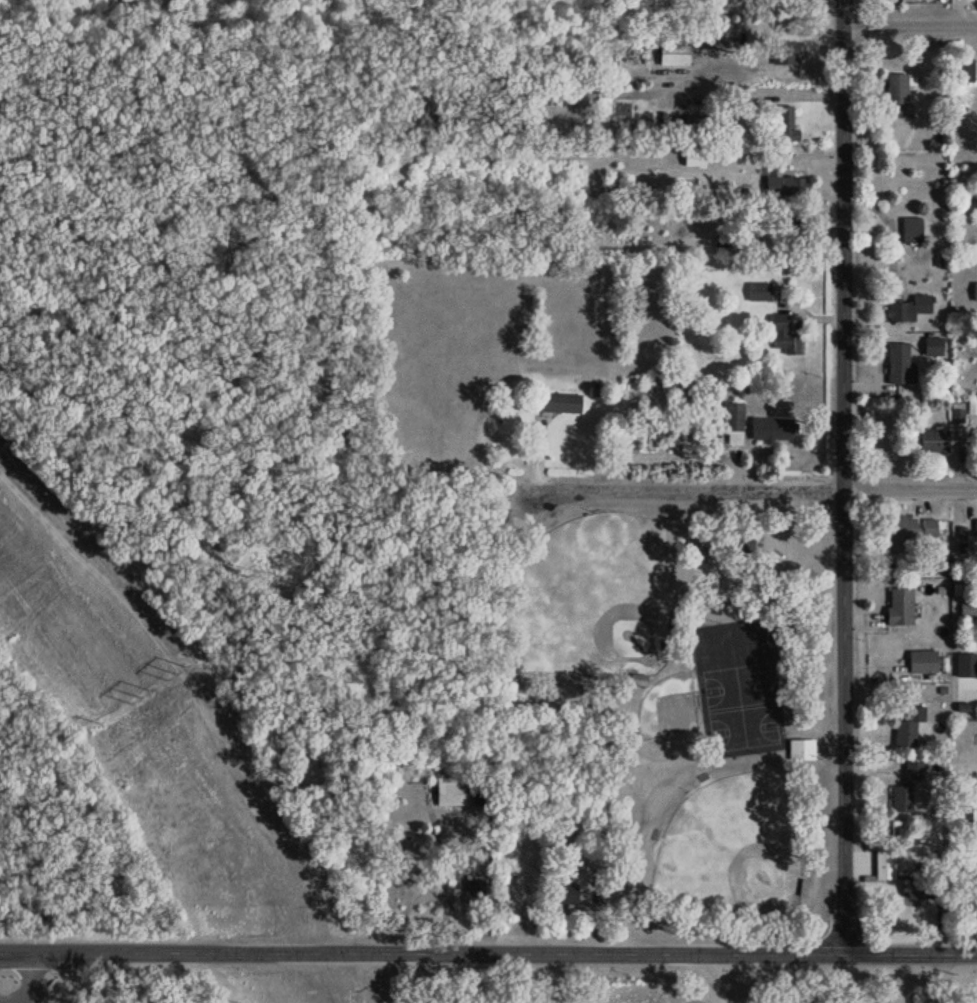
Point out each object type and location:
road: (910, 26)
building: (671, 53)
building: (785, 53)
building: (963, 70)
building: (896, 89)
road: (754, 91)
building: (780, 123)
building: (785, 185)
building: (910, 230)
building: (793, 235)
road: (891, 252)
building: (757, 291)
building: (974, 291)
building: (907, 309)
building: (781, 334)
building: (931, 347)
building: (896, 363)
building: (558, 403)
building: (733, 416)
building: (770, 428)
building: (932, 441)
road: (839, 476)
road: (754, 488)
building: (974, 528)
building: (927, 529)
building: (899, 533)
building: (737, 542)
park: (590, 598)
building: (898, 607)
building: (921, 662)
power tower: (178, 671)
parking lot: (738, 685)
power tower: (131, 693)
park: (667, 708)
park: (672, 715)
building: (906, 728)
building: (799, 749)
building: (905, 787)
building: (448, 793)
park: (732, 847)
building: (882, 865)
building: (918, 886)
building: (473, 891)
building: (507, 892)
building: (565, 893)
road: (488, 953)
road: (390, 978)
road: (716, 978)
road: (944, 978)
road: (38, 999)

